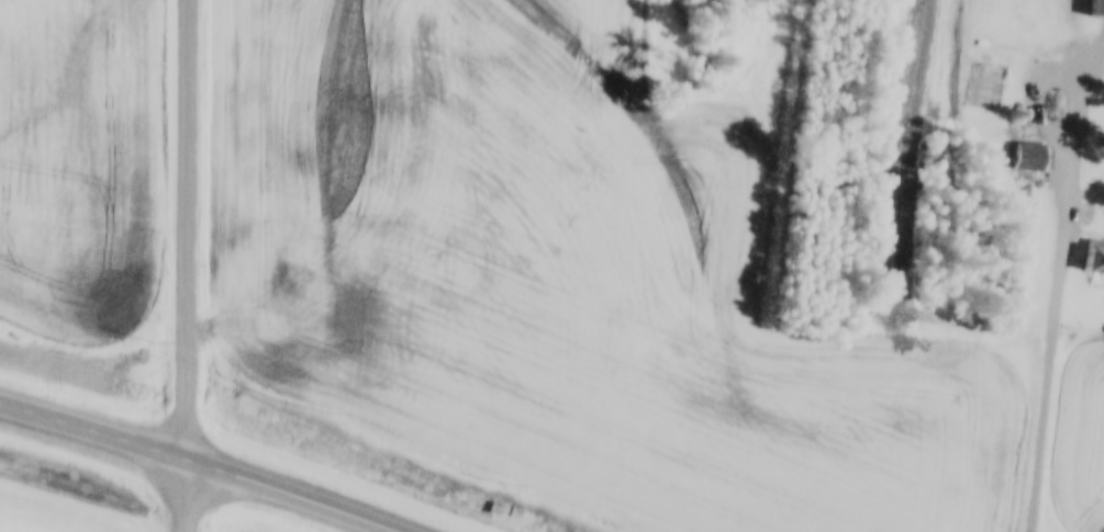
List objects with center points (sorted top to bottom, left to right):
building: (1097, 10)
road: (186, 229)
building: (1090, 257)
road: (1058, 321)
road: (192, 463)
road: (183, 496)

